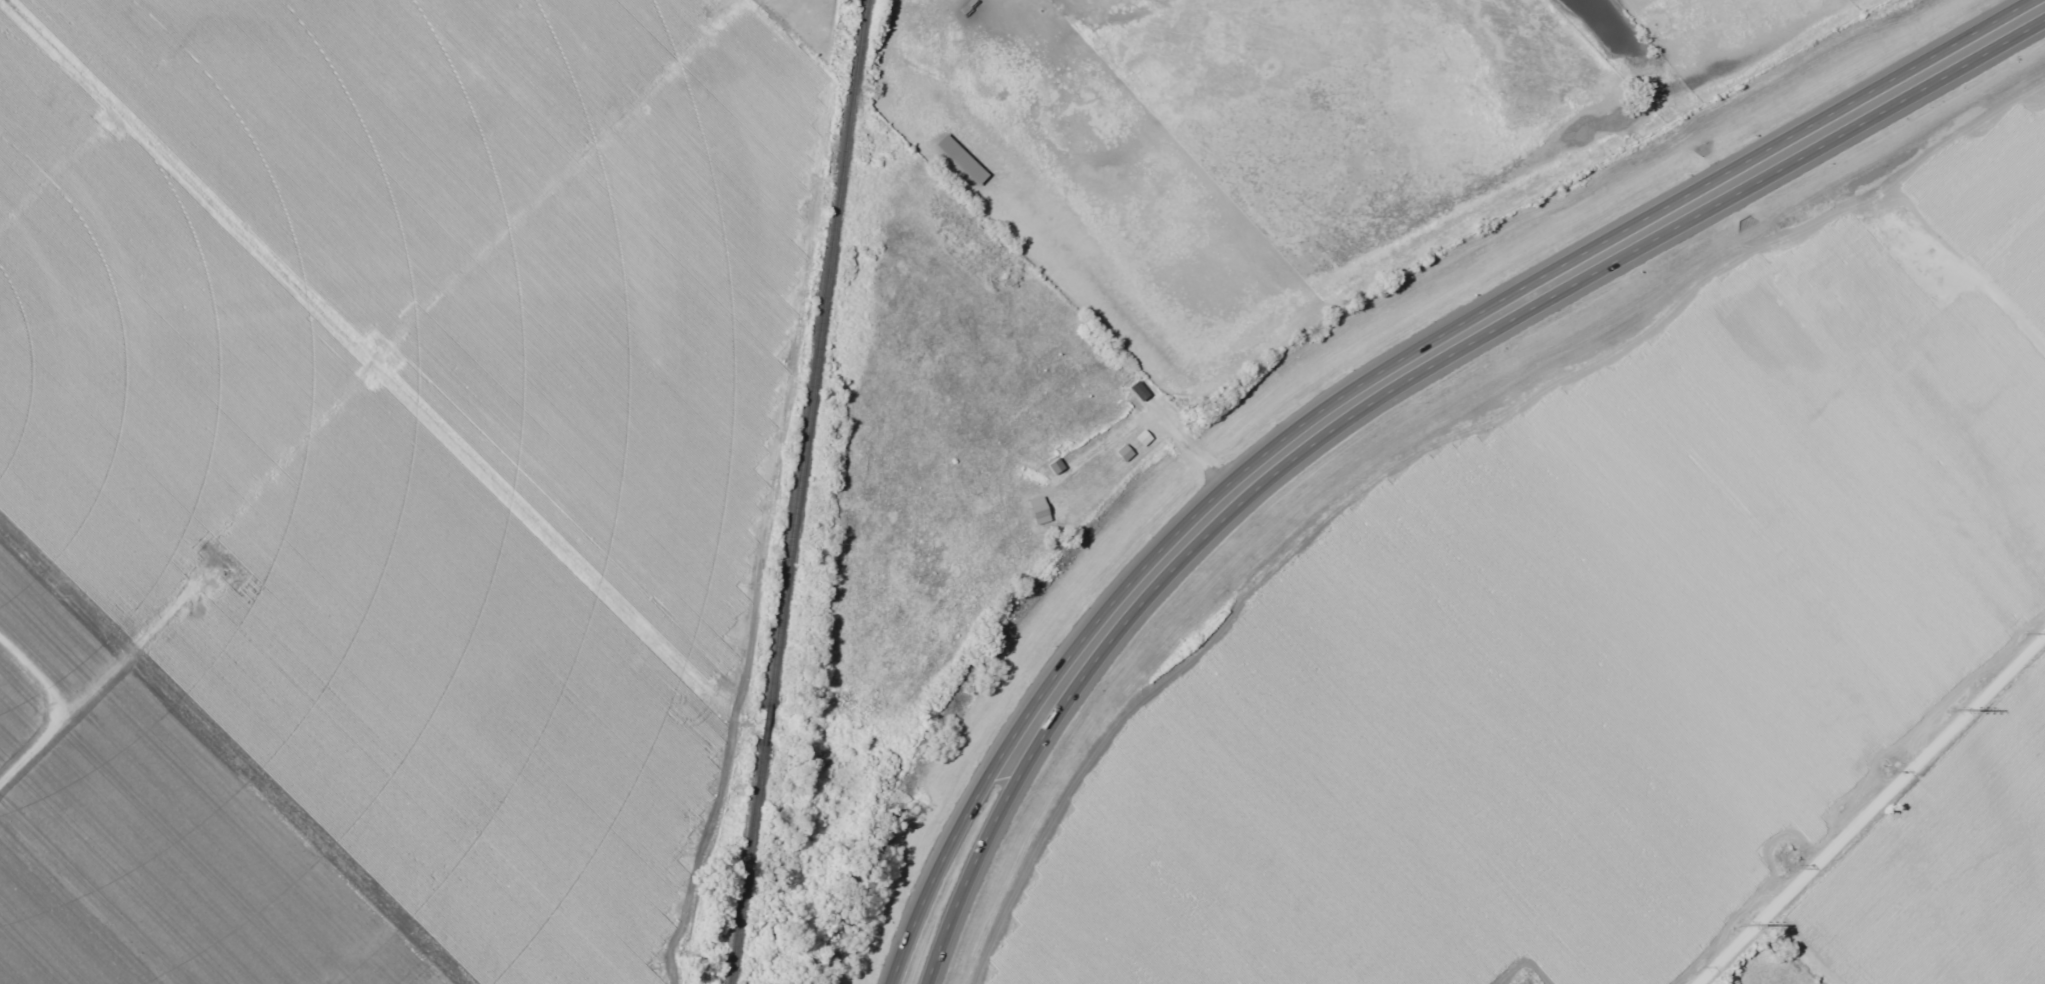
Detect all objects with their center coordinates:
chimney: (1870, 247)
chimney: (1861, 251)
building: (1820, 279)
silo: (1820, 279)
road: (1499, 311)
petroleum well: (1874, 326)
building: (1135, 398)
building: (1122, 453)
building: (1033, 476)
railway: (797, 492)
building: (1037, 511)
petroleum well: (224, 580)
building: (202, 594)
silo: (202, 594)
road: (1871, 809)
road: (949, 843)
road: (980, 850)

